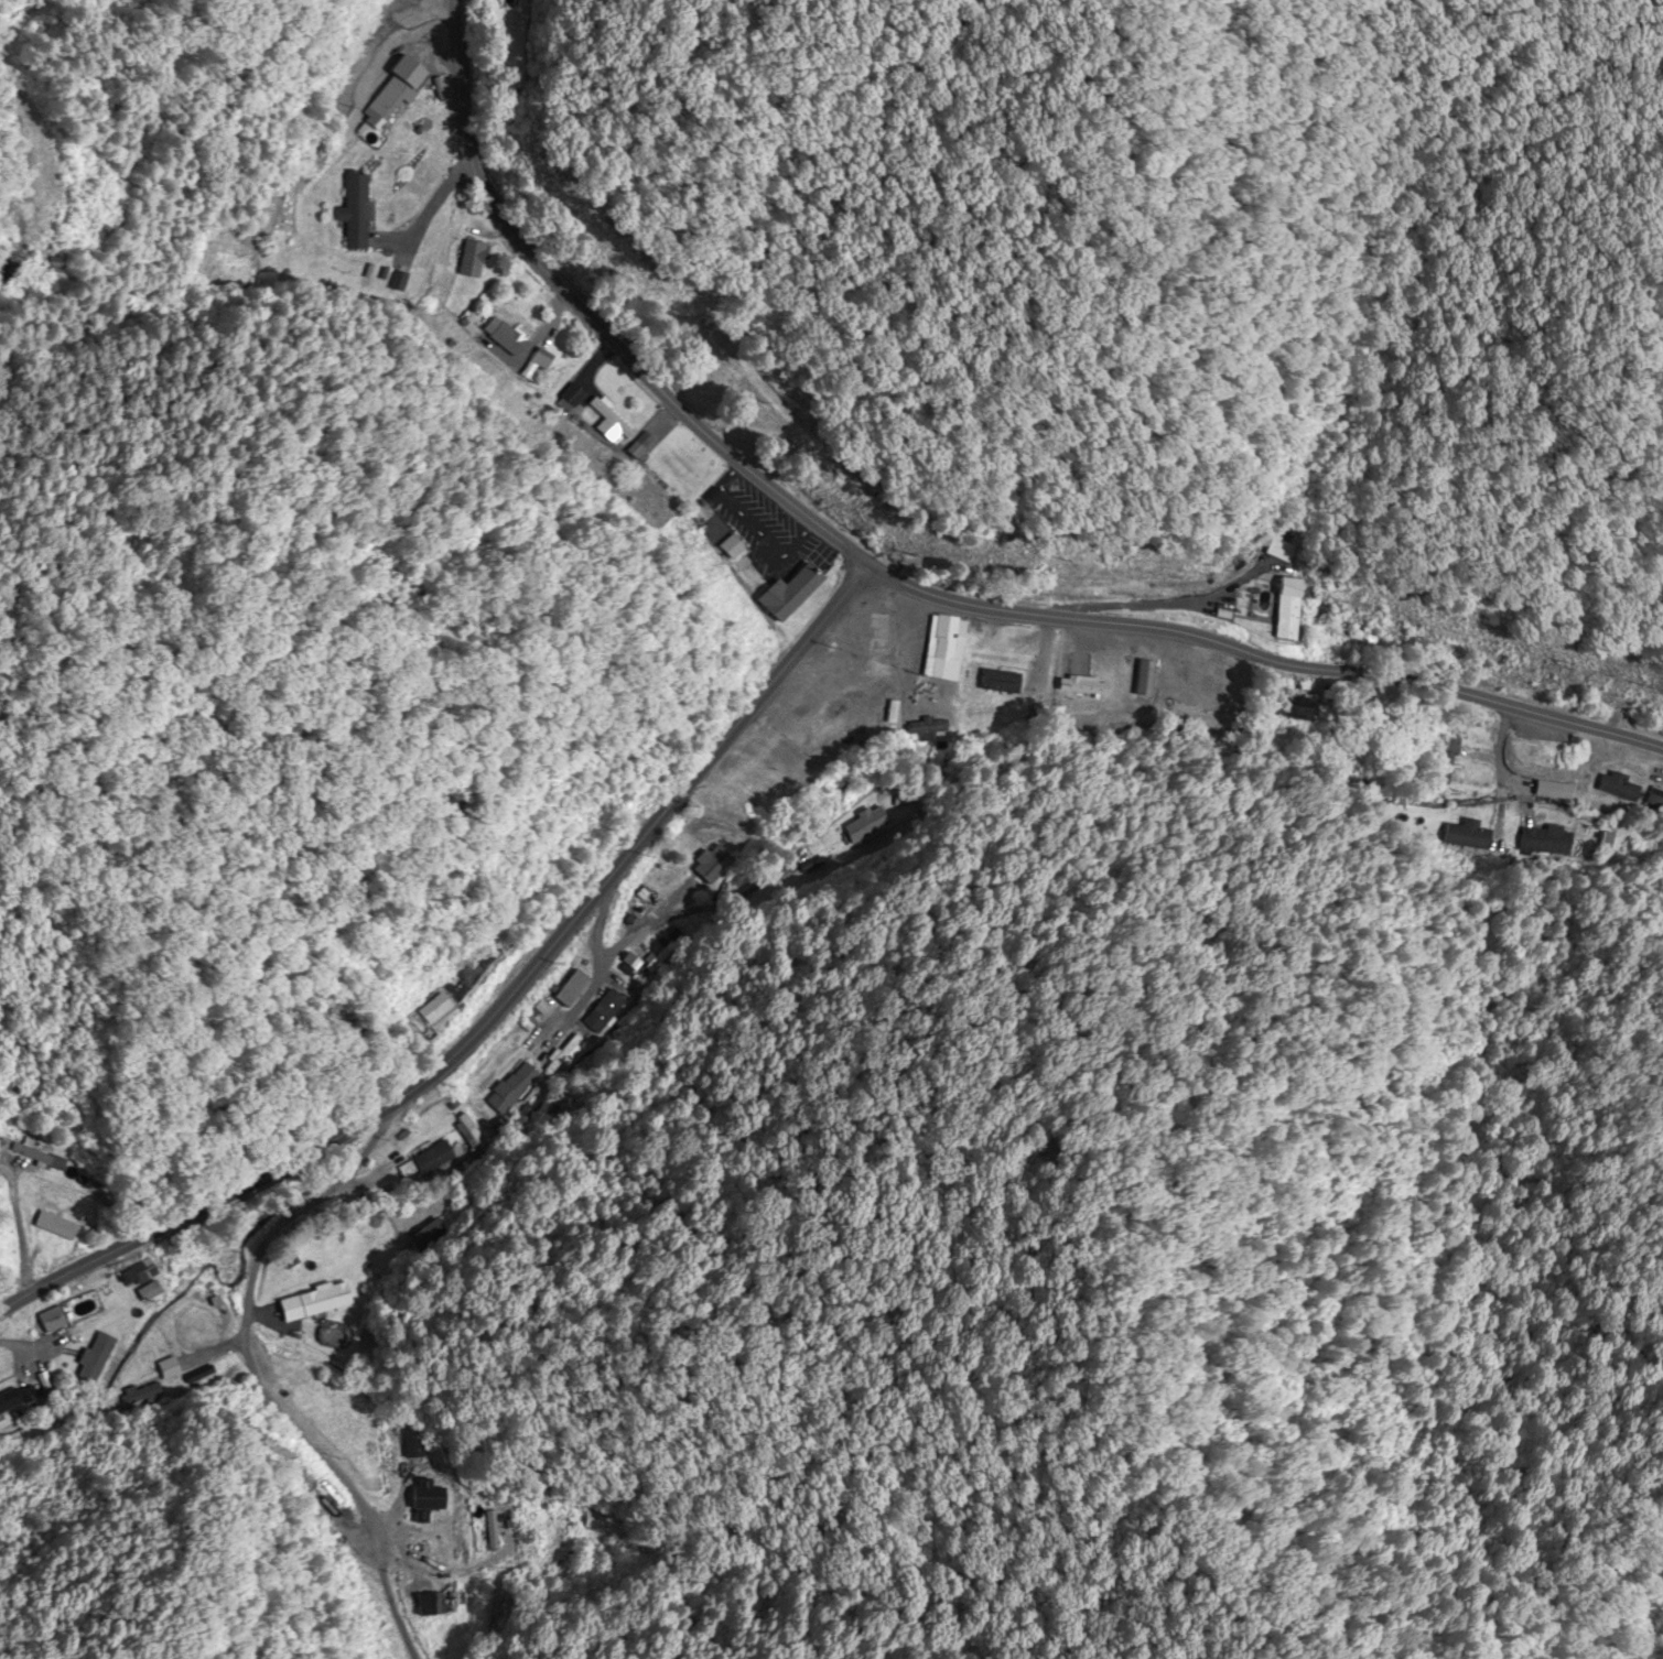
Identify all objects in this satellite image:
building: (426, 44)
building: (379, 102)
building: (347, 213)
building: (465, 261)
building: (505, 341)
building: (528, 368)
building: (565, 399)
building: (605, 419)
building: (726, 549)
building: (1278, 551)
road: (906, 584)
building: (780, 595)
building: (1282, 611)
building: (868, 631)
building: (938, 650)
building: (1138, 681)
building: (993, 683)
building: (1076, 686)
building: (1298, 709)
building: (983, 714)
building: (924, 729)
building: (1455, 738)
building: (1468, 774)
building: (1616, 787)
building: (1549, 791)
building: (1653, 799)
building: (1545, 841)
building: (1608, 843)
building: (710, 866)
road: (1364, 929)
building: (566, 990)
building: (425, 1008)
road: (495, 1010)
building: (604, 1015)
building: (571, 1056)
building: (514, 1091)
building: (7, 1093)
building: (31, 1158)
building: (433, 1158)
building: (47, 1226)
road: (628, 1256)
building: (134, 1292)
building: (311, 1302)
building: (90, 1358)
building: (155, 1385)
building: (8, 1398)
building: (406, 1444)
building: (421, 1497)
building: (488, 1528)

